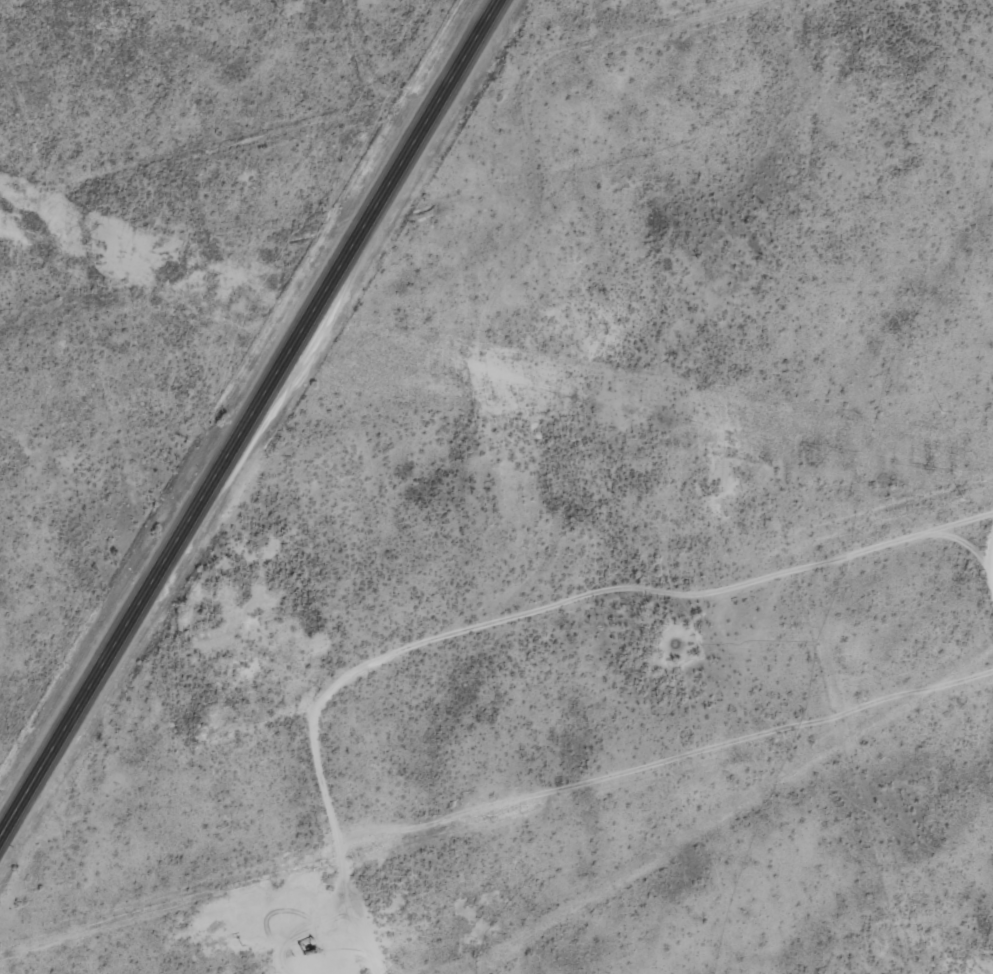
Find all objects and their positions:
road: (637, 52)
road: (337, 119)
road: (251, 422)

